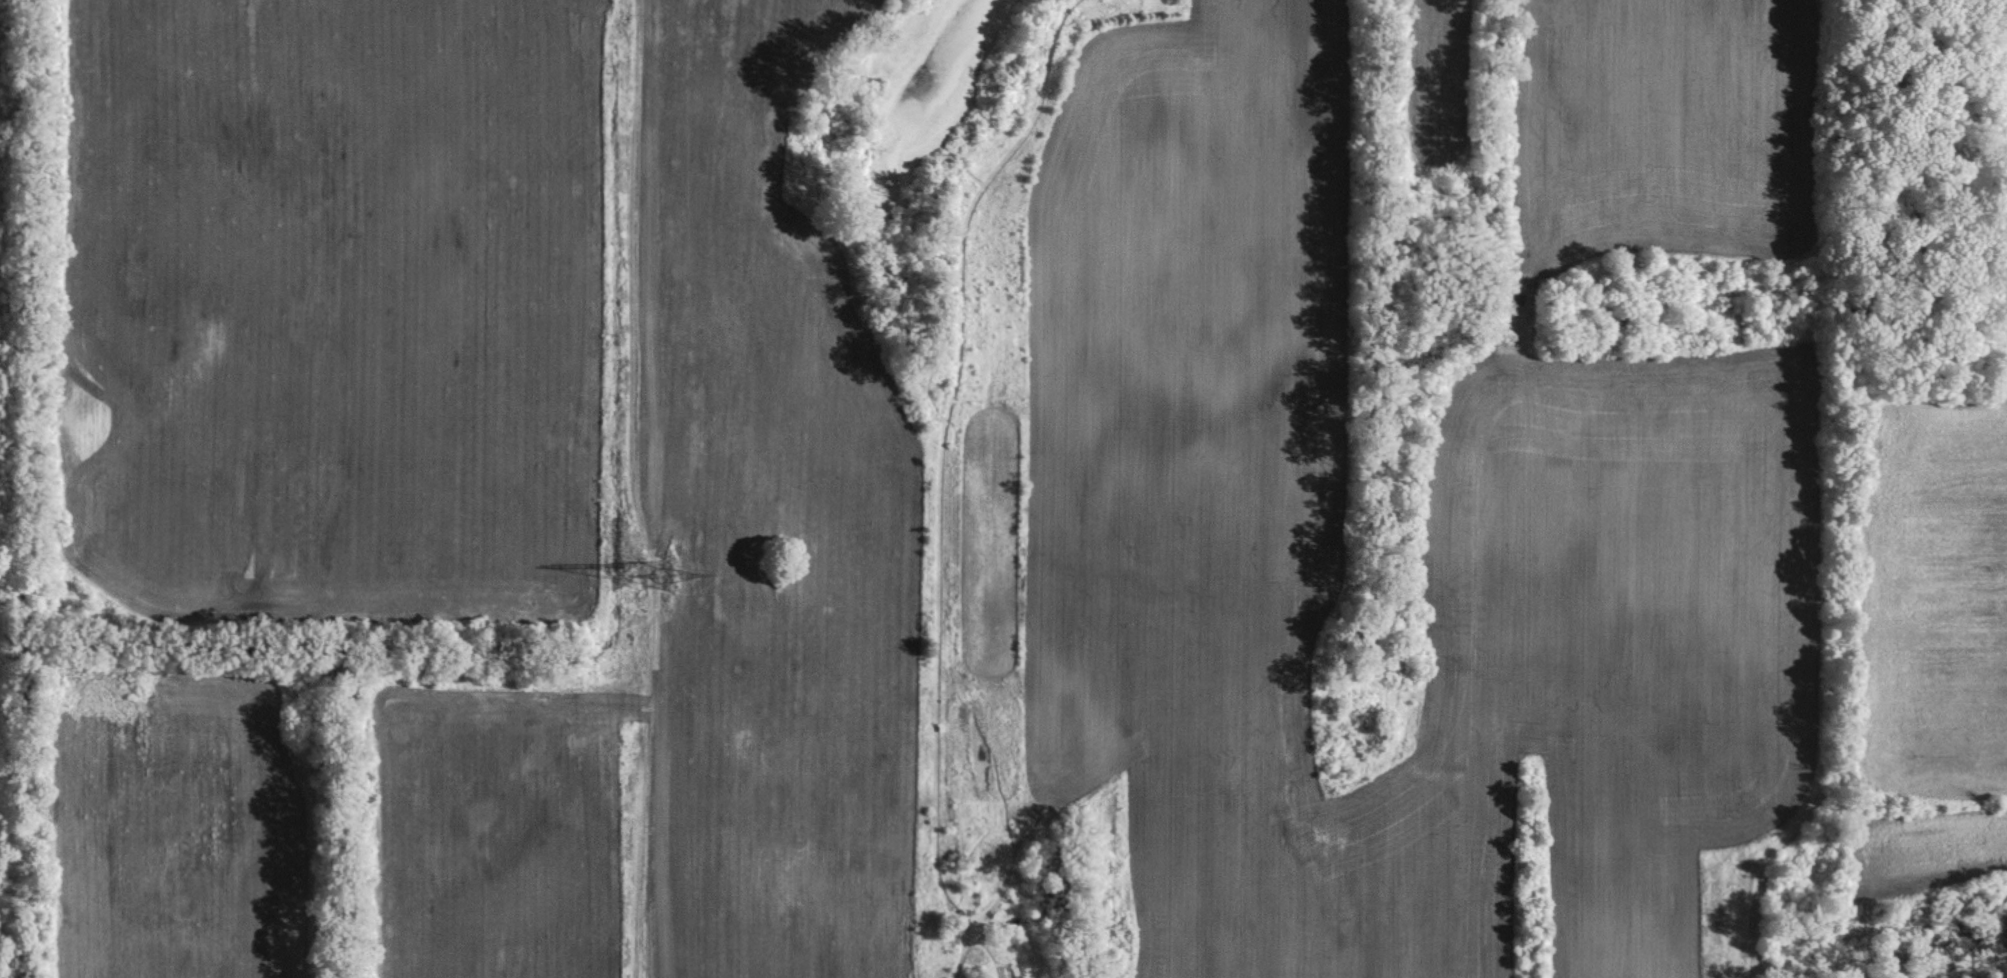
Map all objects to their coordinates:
power tower: (650, 572)

